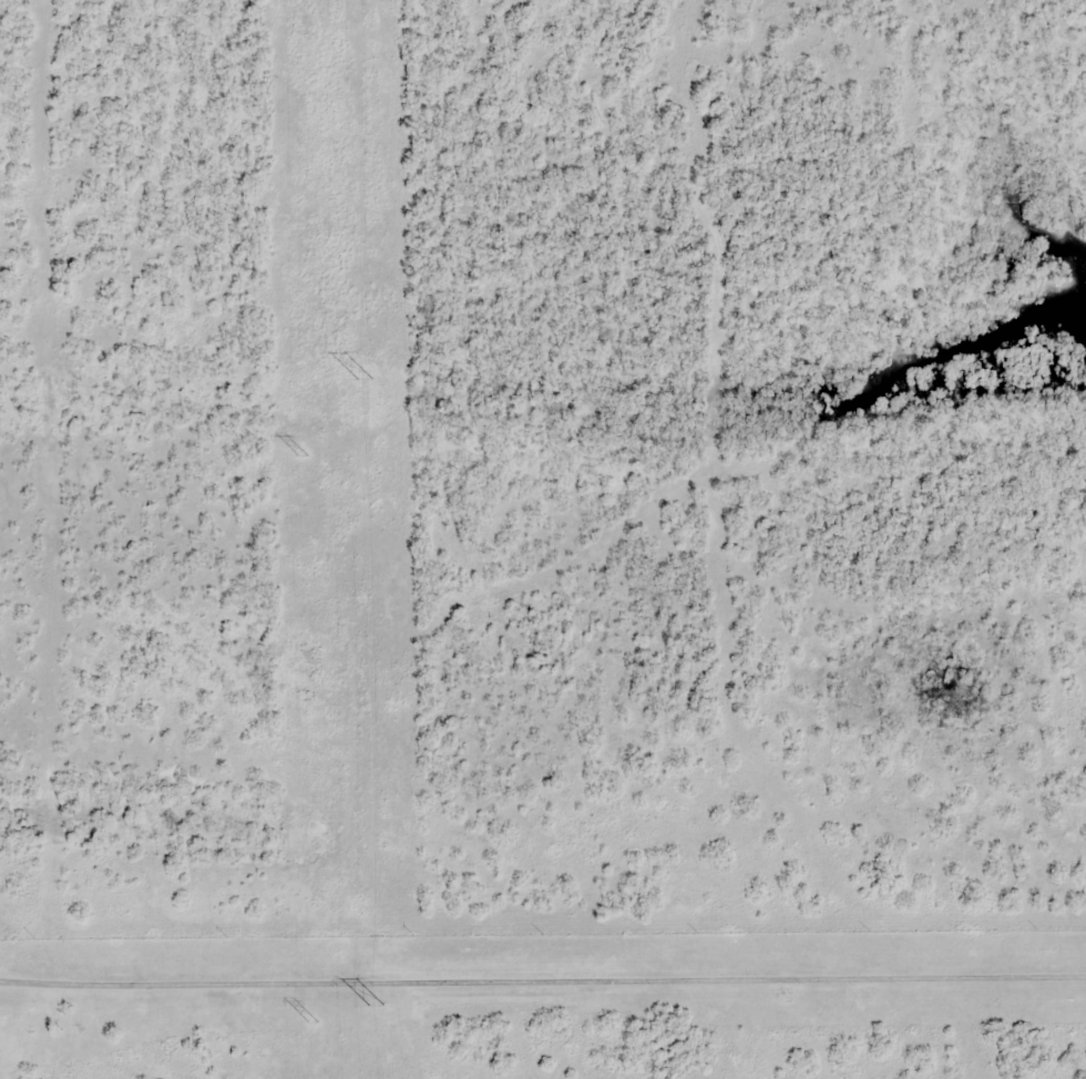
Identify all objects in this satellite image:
power tower: (363, 380)
power tower: (301, 456)
road: (543, 976)
power tower: (376, 1006)
power tower: (311, 1021)

